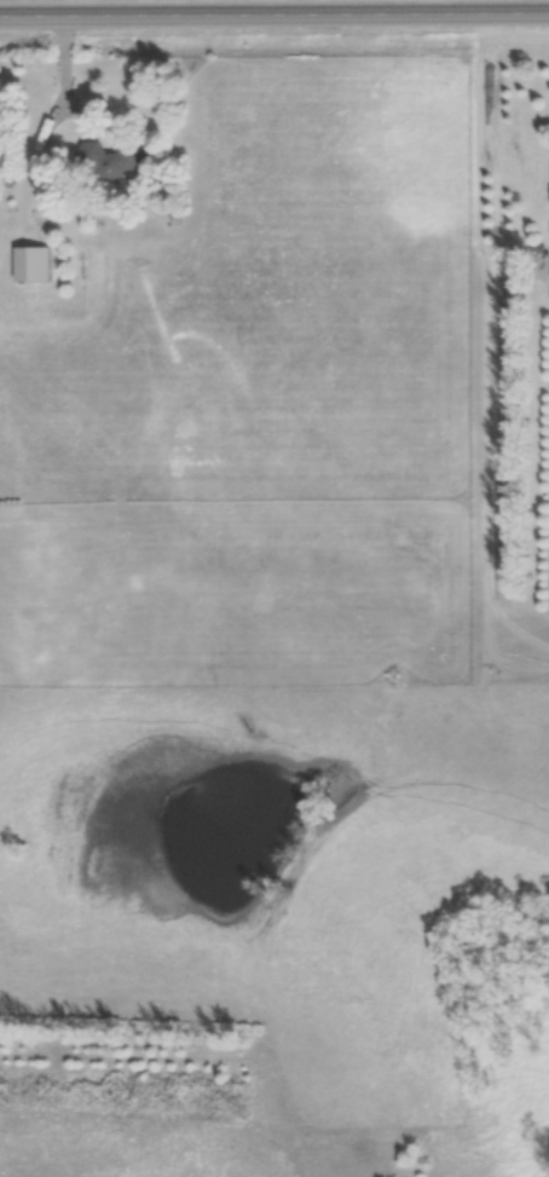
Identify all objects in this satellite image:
road: (274, 17)
building: (114, 163)
building: (33, 266)

